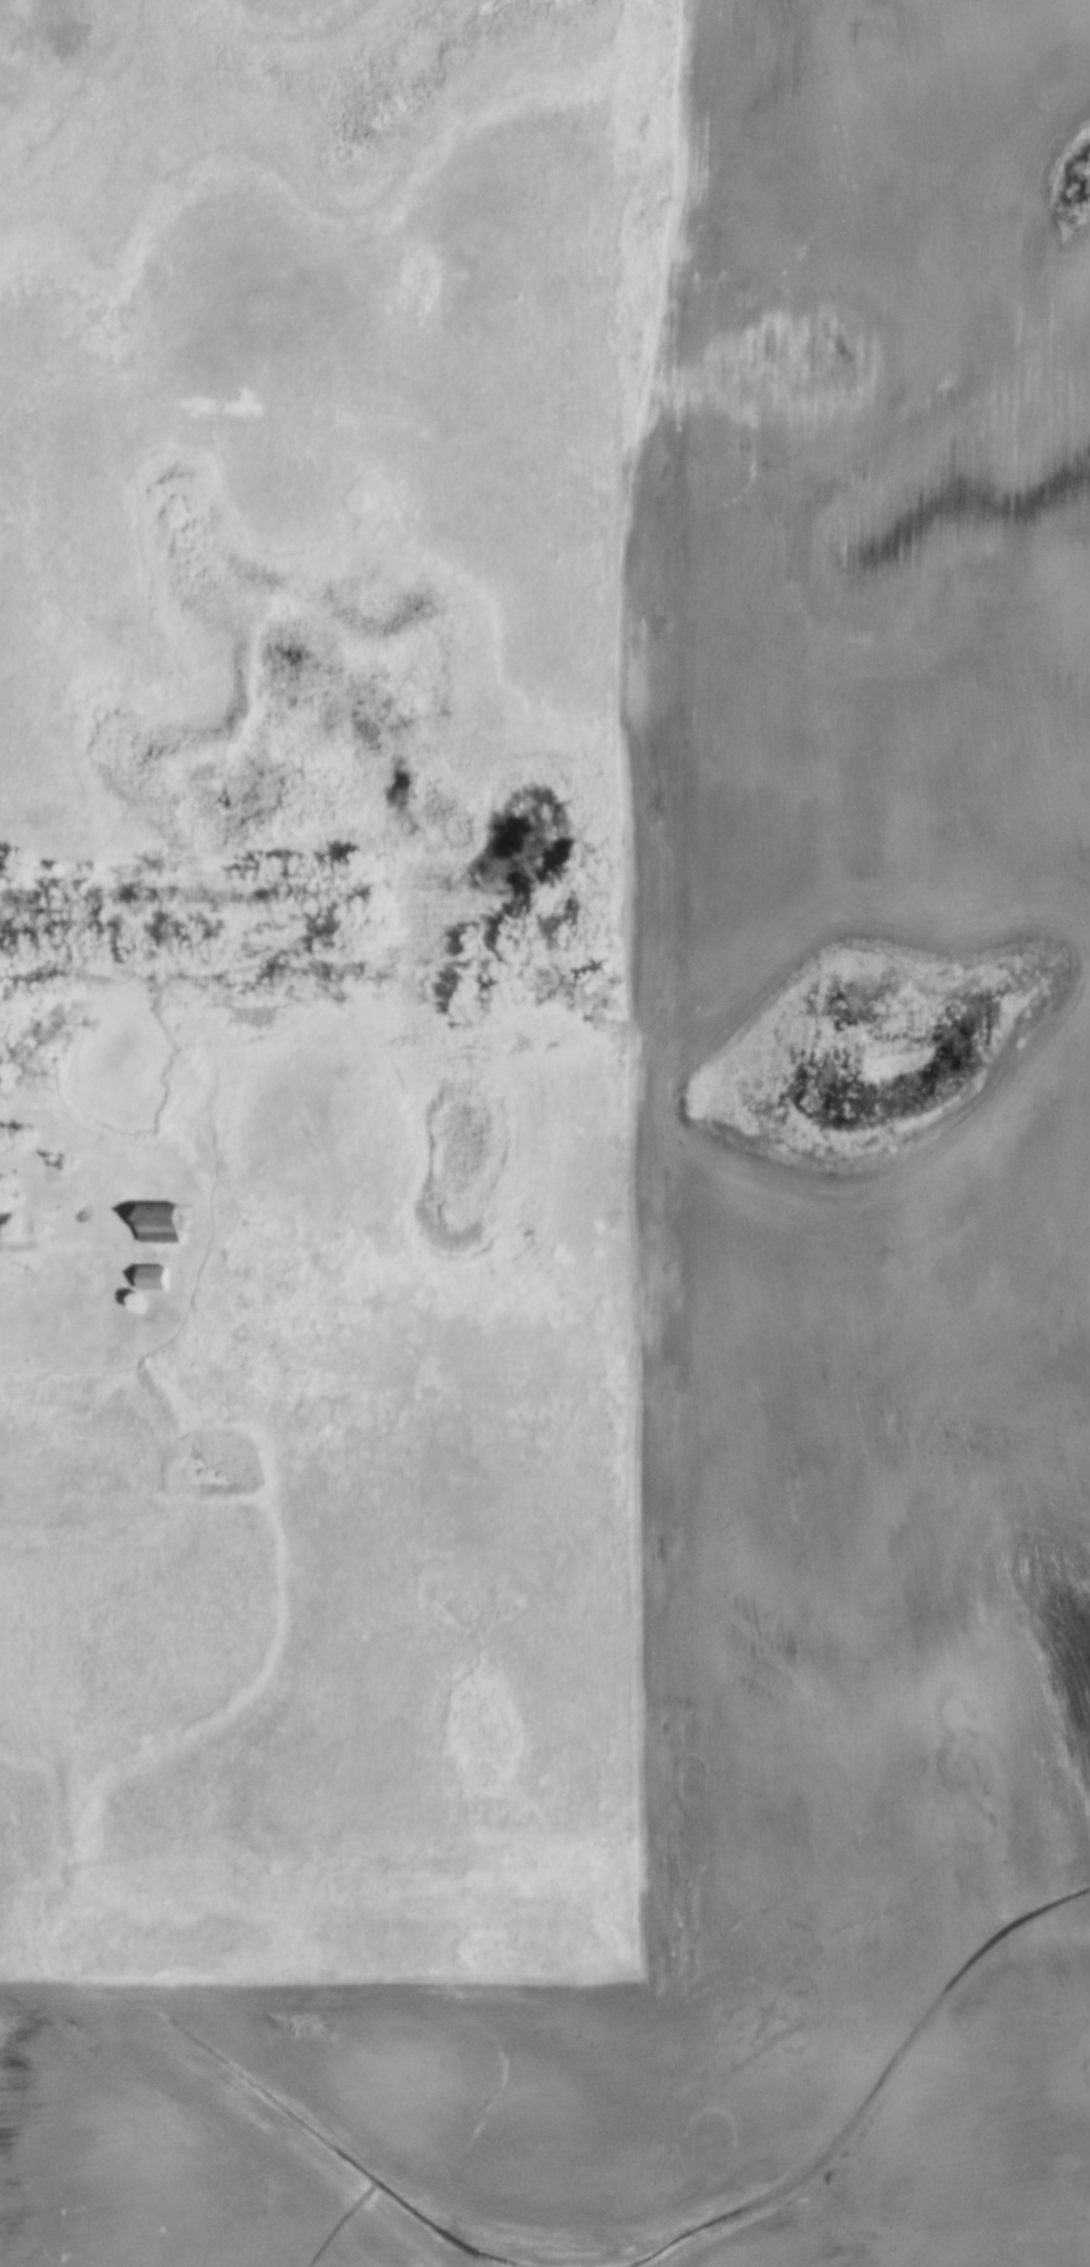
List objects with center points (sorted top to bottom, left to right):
building: (160, 1224)
road: (35, 1250)
building: (152, 1280)

